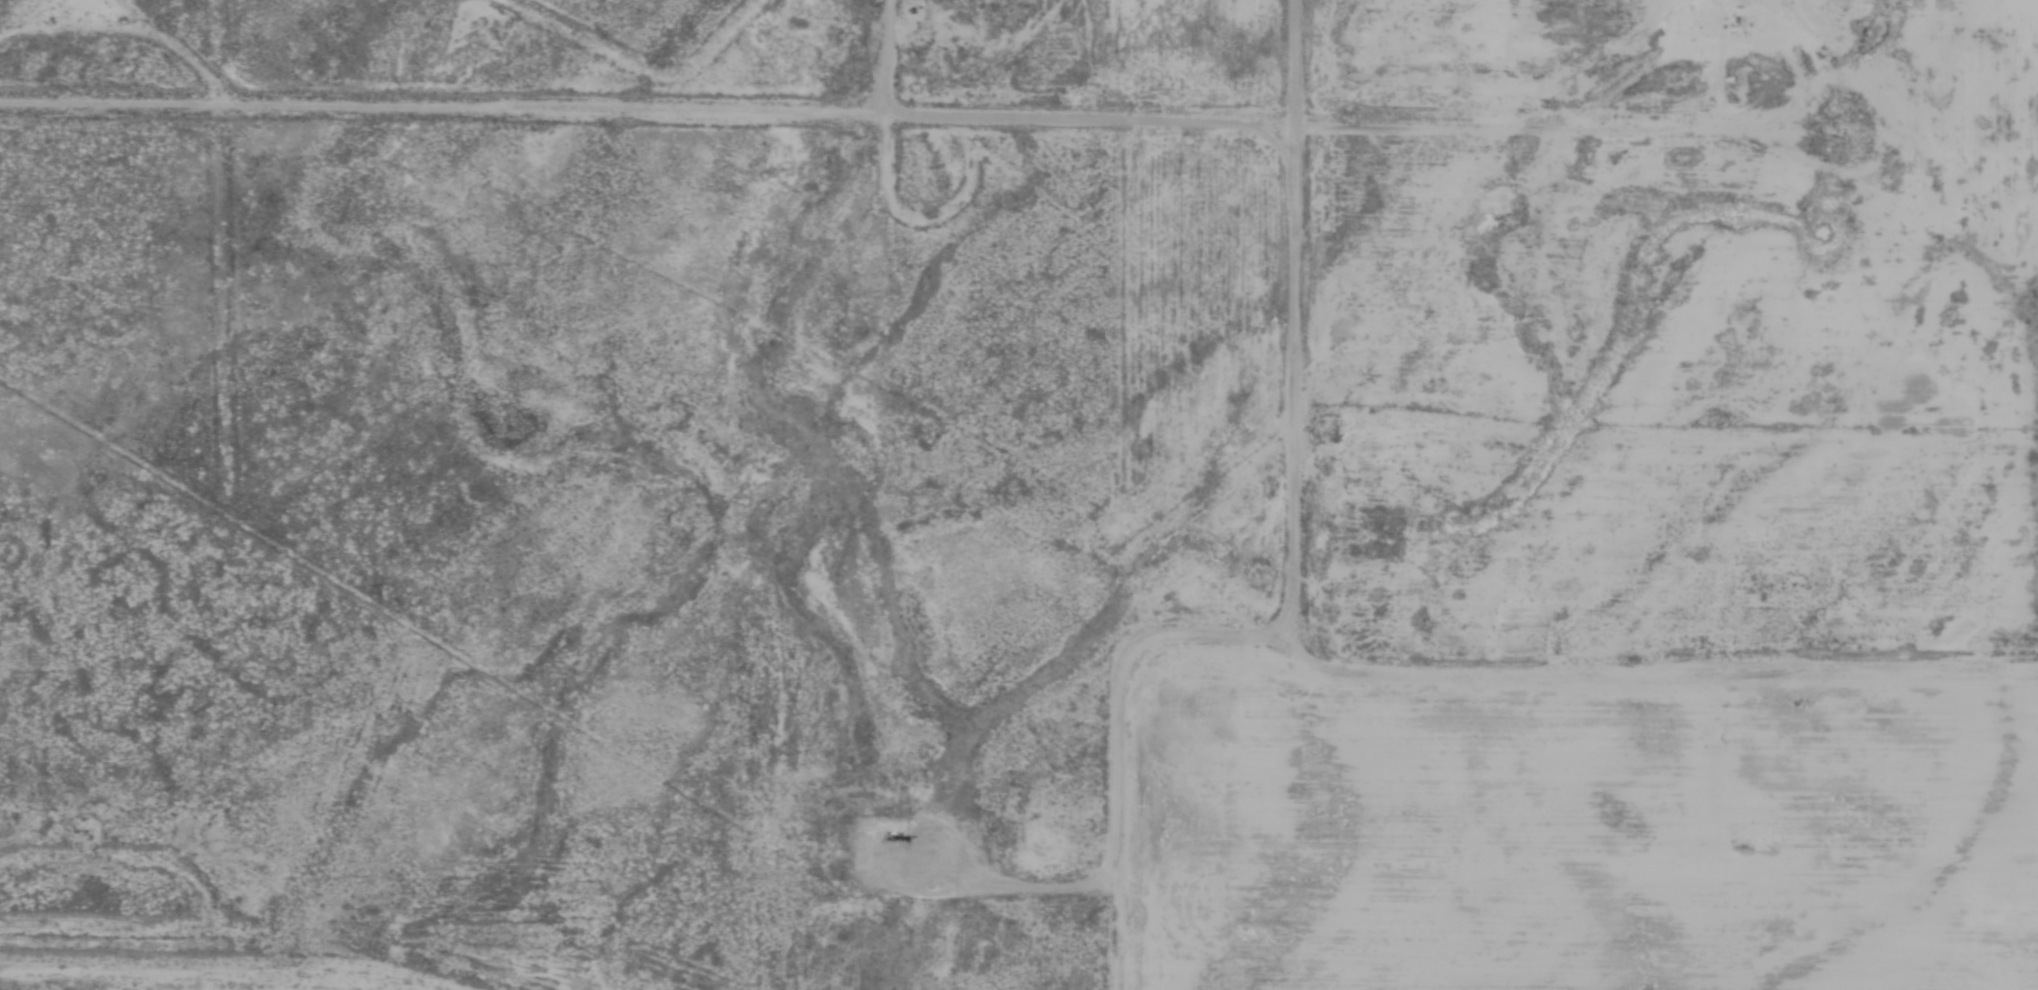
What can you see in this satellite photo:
road: (882, 56)
road: (795, 112)
road: (1713, 125)
road: (1333, 677)
road: (25, 938)

